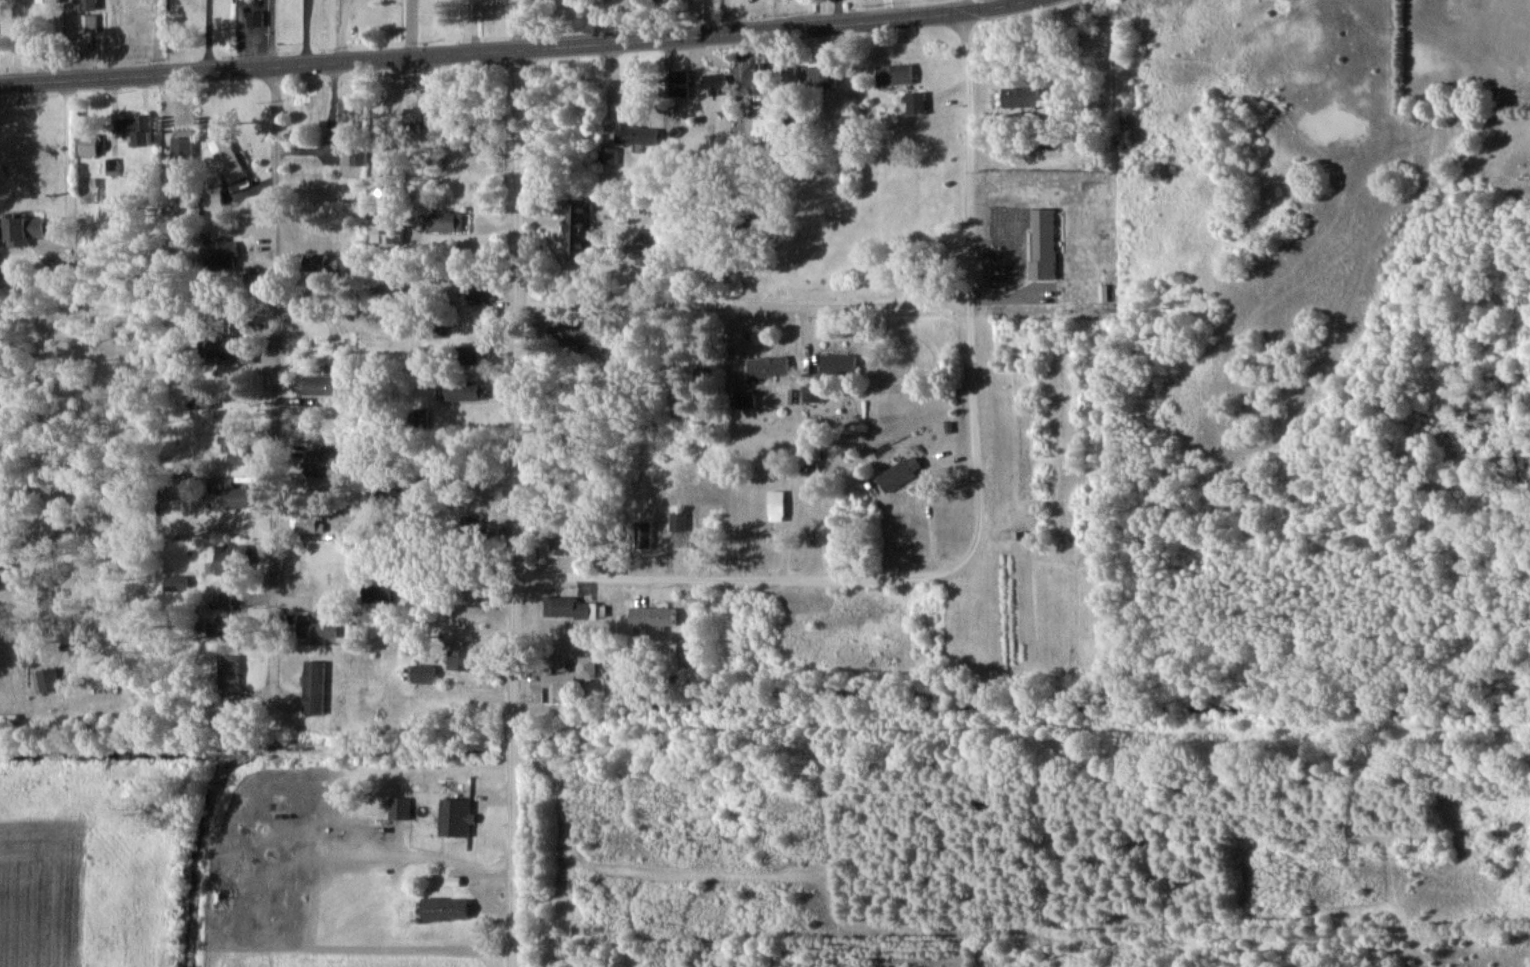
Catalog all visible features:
building: (87, 1)
road: (836, 12)
road: (343, 30)
road: (31, 40)
road: (511, 50)
building: (896, 75)
building: (765, 77)
building: (820, 77)
building: (677, 83)
building: (717, 84)
building: (1030, 97)
building: (917, 103)
building: (135, 125)
road: (329, 127)
building: (774, 129)
building: (352, 132)
building: (638, 133)
building: (1058, 139)
road: (70, 147)
building: (182, 155)
building: (229, 160)
building: (447, 222)
building: (25, 229)
building: (576, 231)
building: (225, 254)
building: (324, 263)
road: (976, 304)
building: (233, 352)
building: (471, 355)
building: (839, 365)
building: (768, 367)
road: (271, 378)
building: (325, 386)
building: (679, 403)
building: (236, 444)
building: (326, 460)
building: (897, 476)
road: (513, 483)
road: (804, 488)
building: (235, 496)
building: (777, 507)
road: (975, 514)
building: (679, 521)
road: (29, 522)
building: (309, 524)
building: (558, 546)
building: (233, 560)
building: (578, 609)
building: (656, 617)
building: (229, 626)
building: (318, 626)
building: (466, 660)
building: (228, 673)
building: (425, 674)
building: (570, 677)
building: (48, 681)
building: (314, 688)
building: (399, 809)
building: (456, 818)
building: (447, 910)

